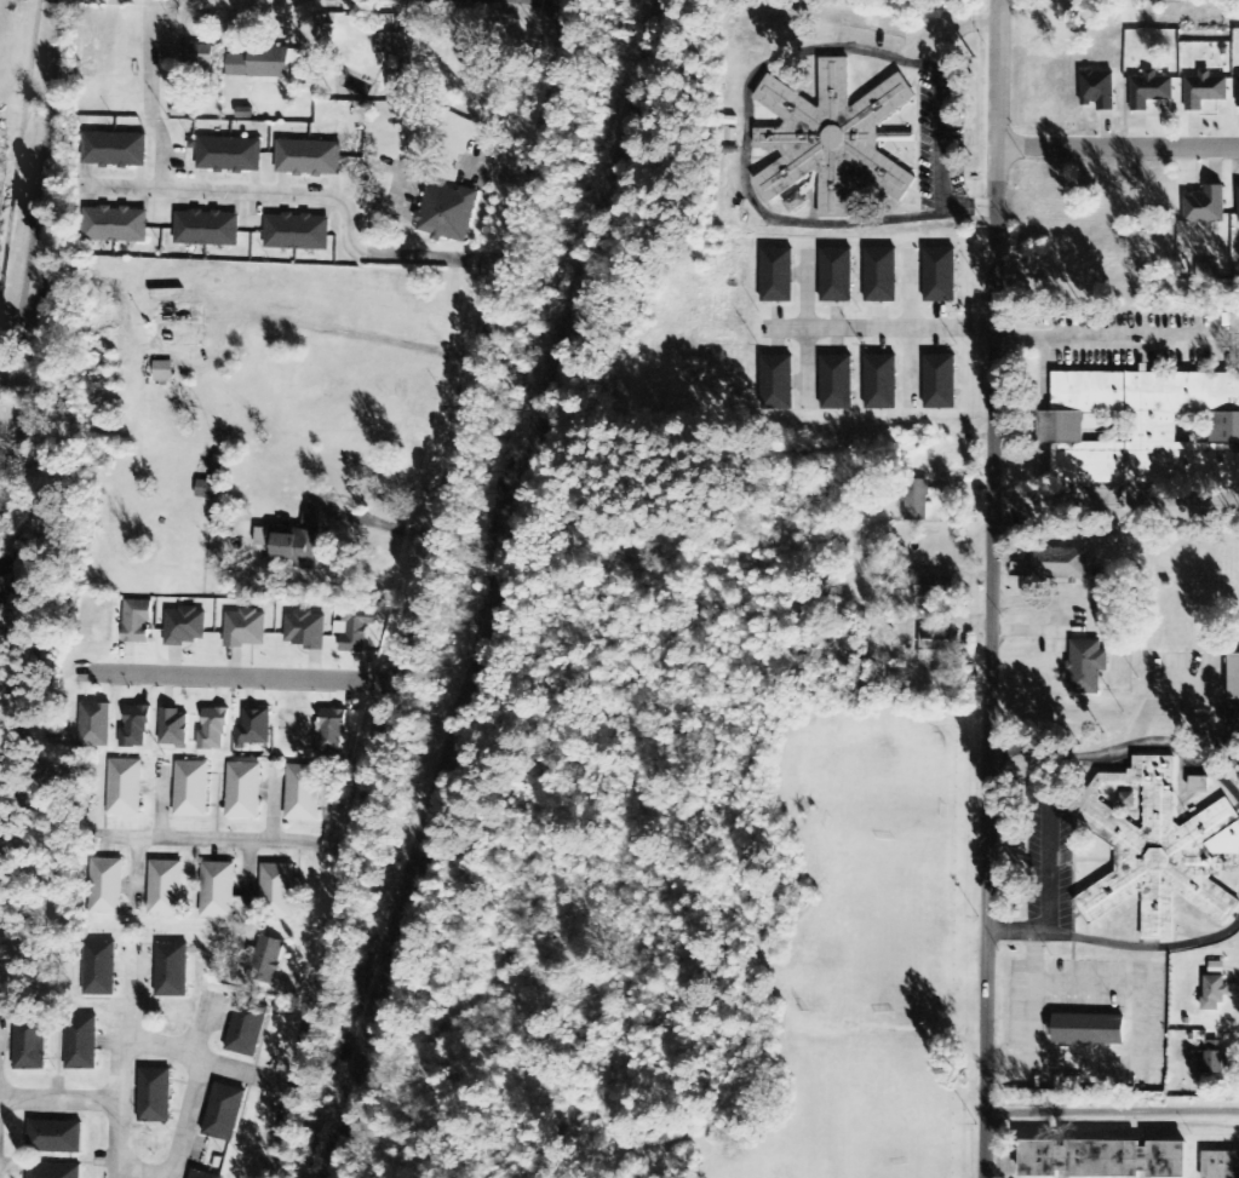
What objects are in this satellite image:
road: (540, 0)
building: (197, 56)
building: (403, 61)
building: (259, 64)
building: (1151, 91)
building: (1205, 91)
building: (1097, 92)
road: (150, 94)
building: (1238, 94)
building: (830, 138)
road: (1118, 146)
building: (114, 150)
building: (230, 156)
building: (309, 159)
road: (312, 192)
road: (36, 196)
building: (1206, 207)
building: (448, 214)
building: (1238, 222)
building: (116, 225)
building: (207, 229)
building: (297, 232)
building: (778, 277)
building: (837, 277)
building: (882, 277)
building: (941, 277)
building: (177, 326)
road: (879, 331)
building: (780, 384)
building: (837, 384)
building: (941, 384)
building: (882, 385)
building: (1143, 429)
park: (30, 459)
building: (218, 467)
building: (207, 489)
building: (916, 500)
building: (296, 545)
building: (1060, 564)
railway: (478, 587)
building: (933, 587)
road: (991, 588)
road: (420, 590)
building: (137, 621)
building: (183, 627)
building: (245, 630)
building: (356, 630)
building: (305, 631)
building: (935, 642)
building: (1088, 668)
building: (1234, 677)
road: (236, 678)
building: (1229, 718)
building: (96, 725)
building: (136, 726)
building: (173, 728)
building: (254, 728)
building: (214, 729)
building: (331, 731)
building: (1199, 785)
building: (125, 787)
building: (191, 789)
building: (243, 792)
building: (302, 793)
road: (223, 838)
building: (1159, 849)
building: (105, 887)
building: (165, 889)
building: (217, 891)
building: (276, 893)
building: (266, 960)
building: (99, 970)
building: (171, 971)
road: (136, 993)
building: (1215, 993)
road: (197, 1022)
building: (247, 1028)
building: (1088, 1030)
road: (140, 1042)
building: (80, 1044)
building: (29, 1045)
building: (1210, 1064)
building: (155, 1096)
road: (59, 1098)
building: (224, 1114)
road: (1112, 1115)
road: (185, 1117)
building: (55, 1138)
building: (1107, 1157)
building: (1221, 1163)
building: (52, 1171)
road: (144, 1173)
building: (202, 1176)

